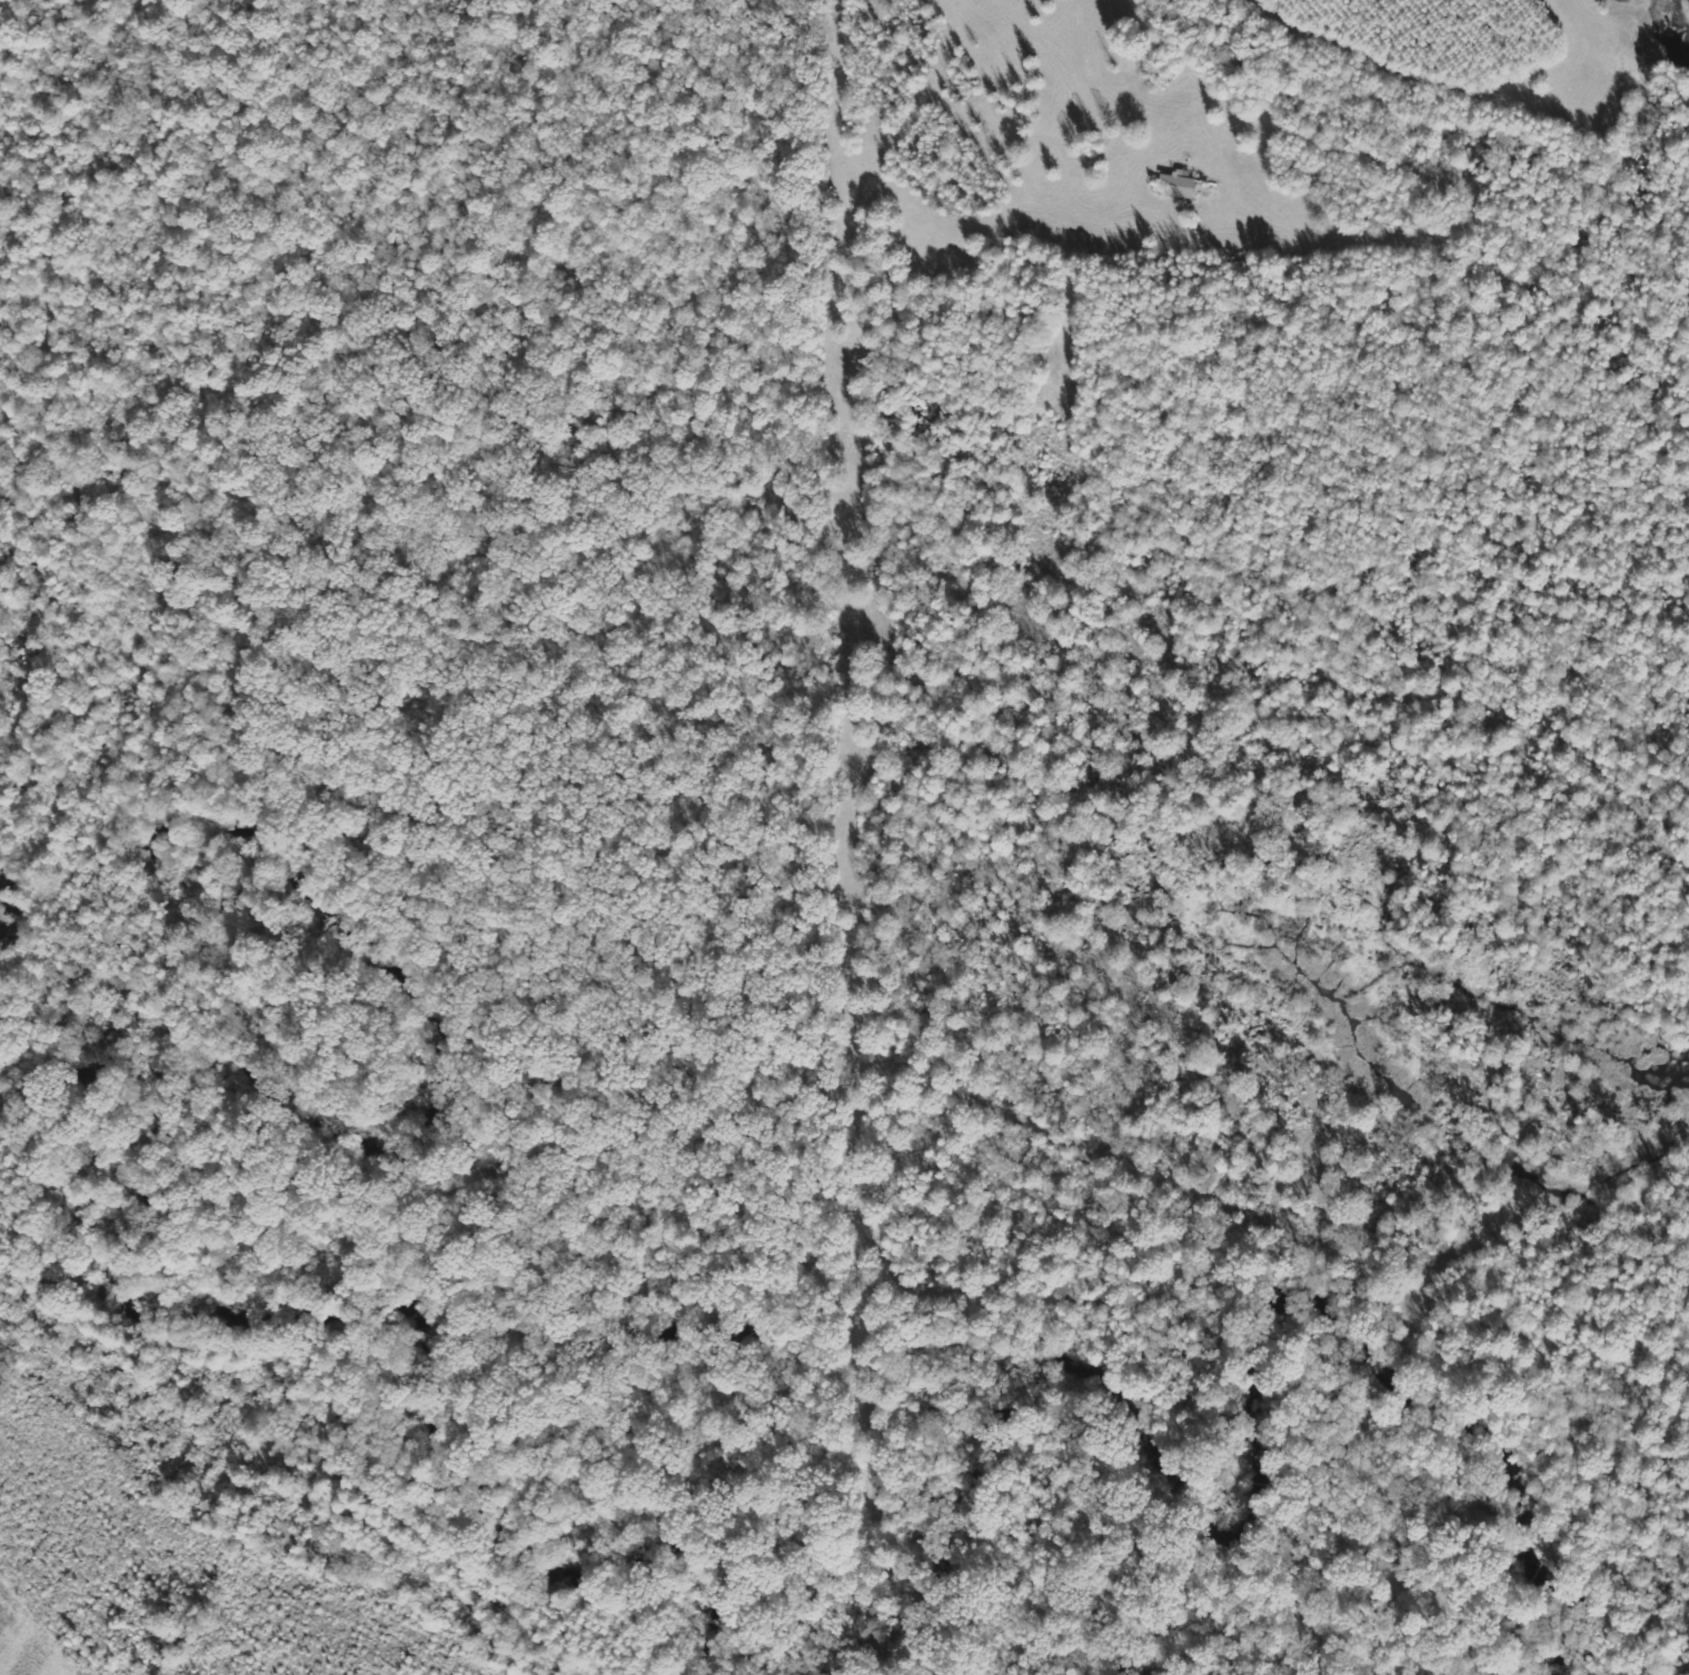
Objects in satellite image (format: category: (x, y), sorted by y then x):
building: (1180, 183)

